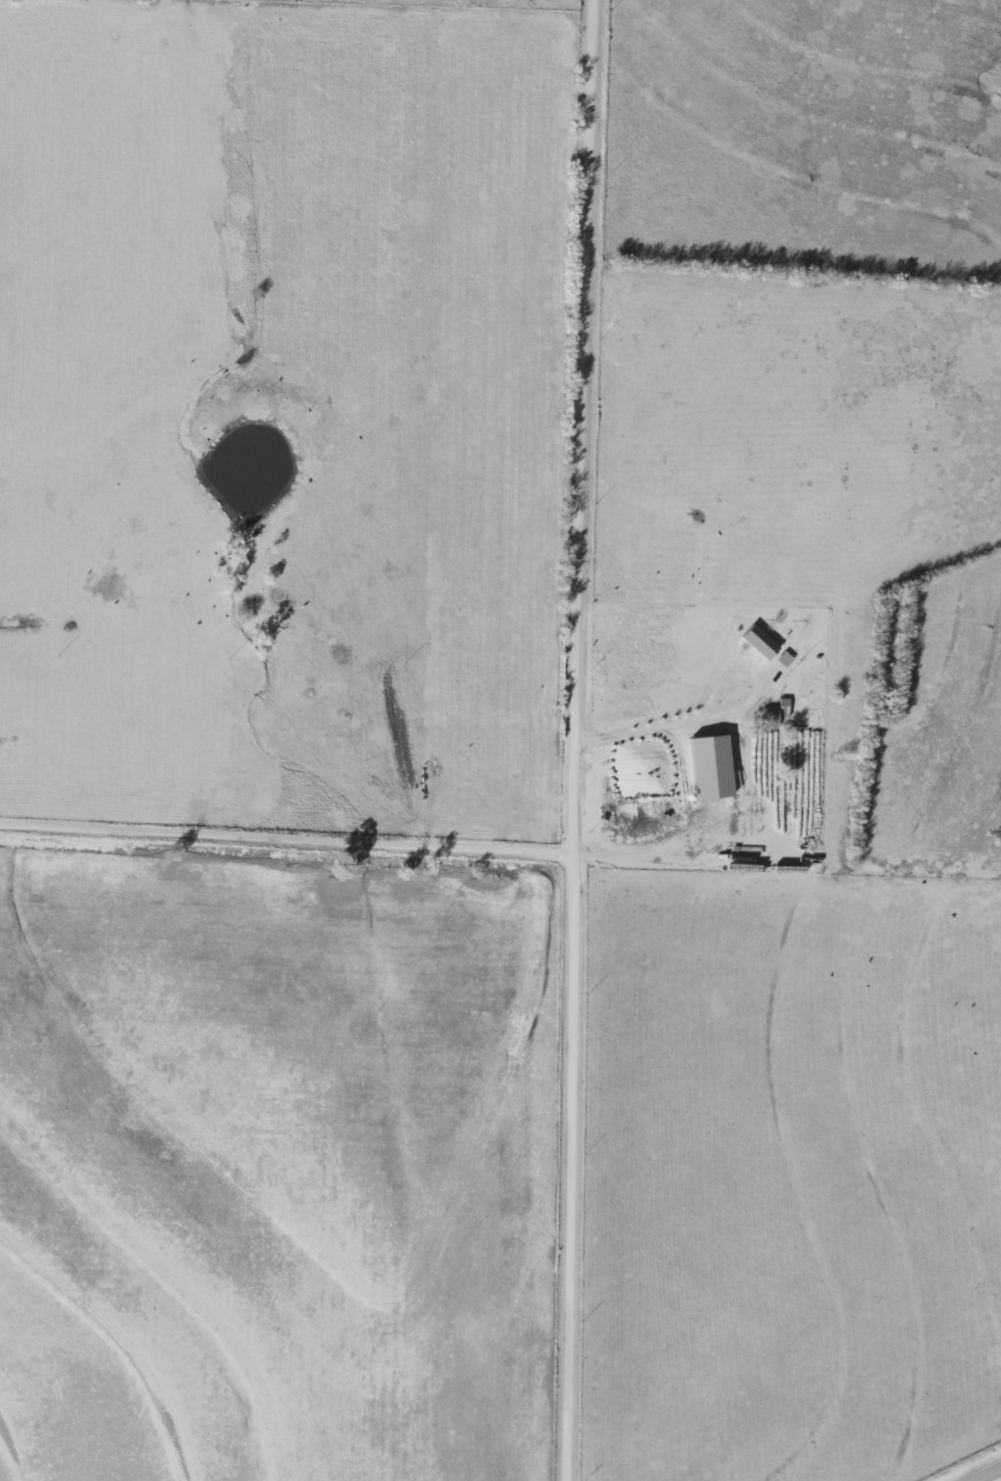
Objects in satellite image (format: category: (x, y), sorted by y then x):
building: (758, 644)
building: (783, 661)
building: (782, 709)
road: (710, 719)
building: (768, 719)
road: (569, 740)
building: (767, 743)
road: (283, 841)
road: (654, 855)
road: (987, 1474)

